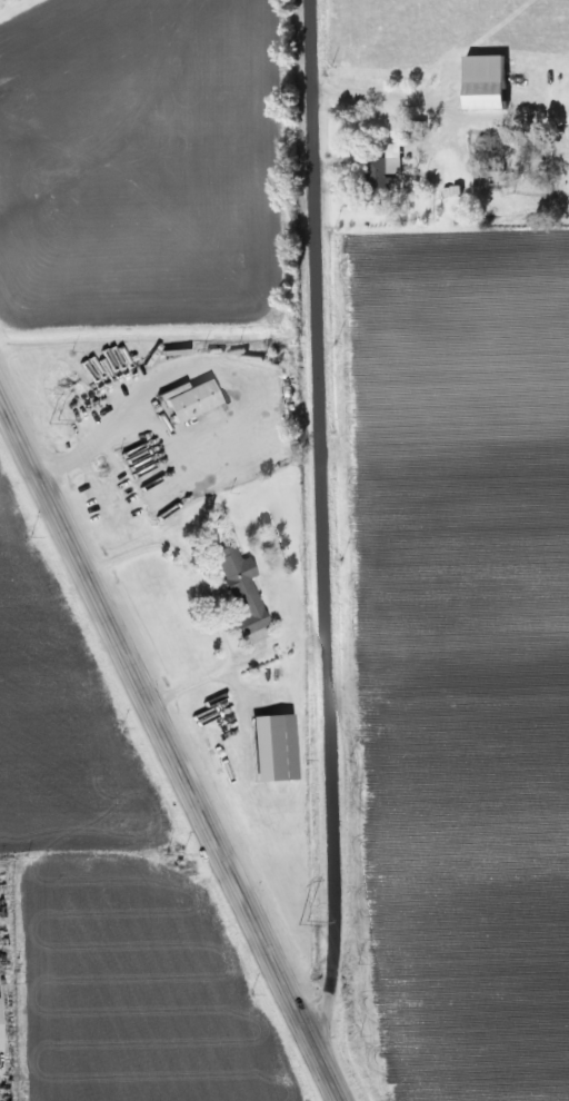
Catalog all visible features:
building: (485, 82)
road: (372, 99)
building: (376, 175)
building: (188, 400)
power tower: (51, 423)
road: (100, 446)
road: (322, 517)
building: (239, 591)
road: (212, 674)
road: (170, 744)
building: (277, 748)
power tower: (300, 923)

